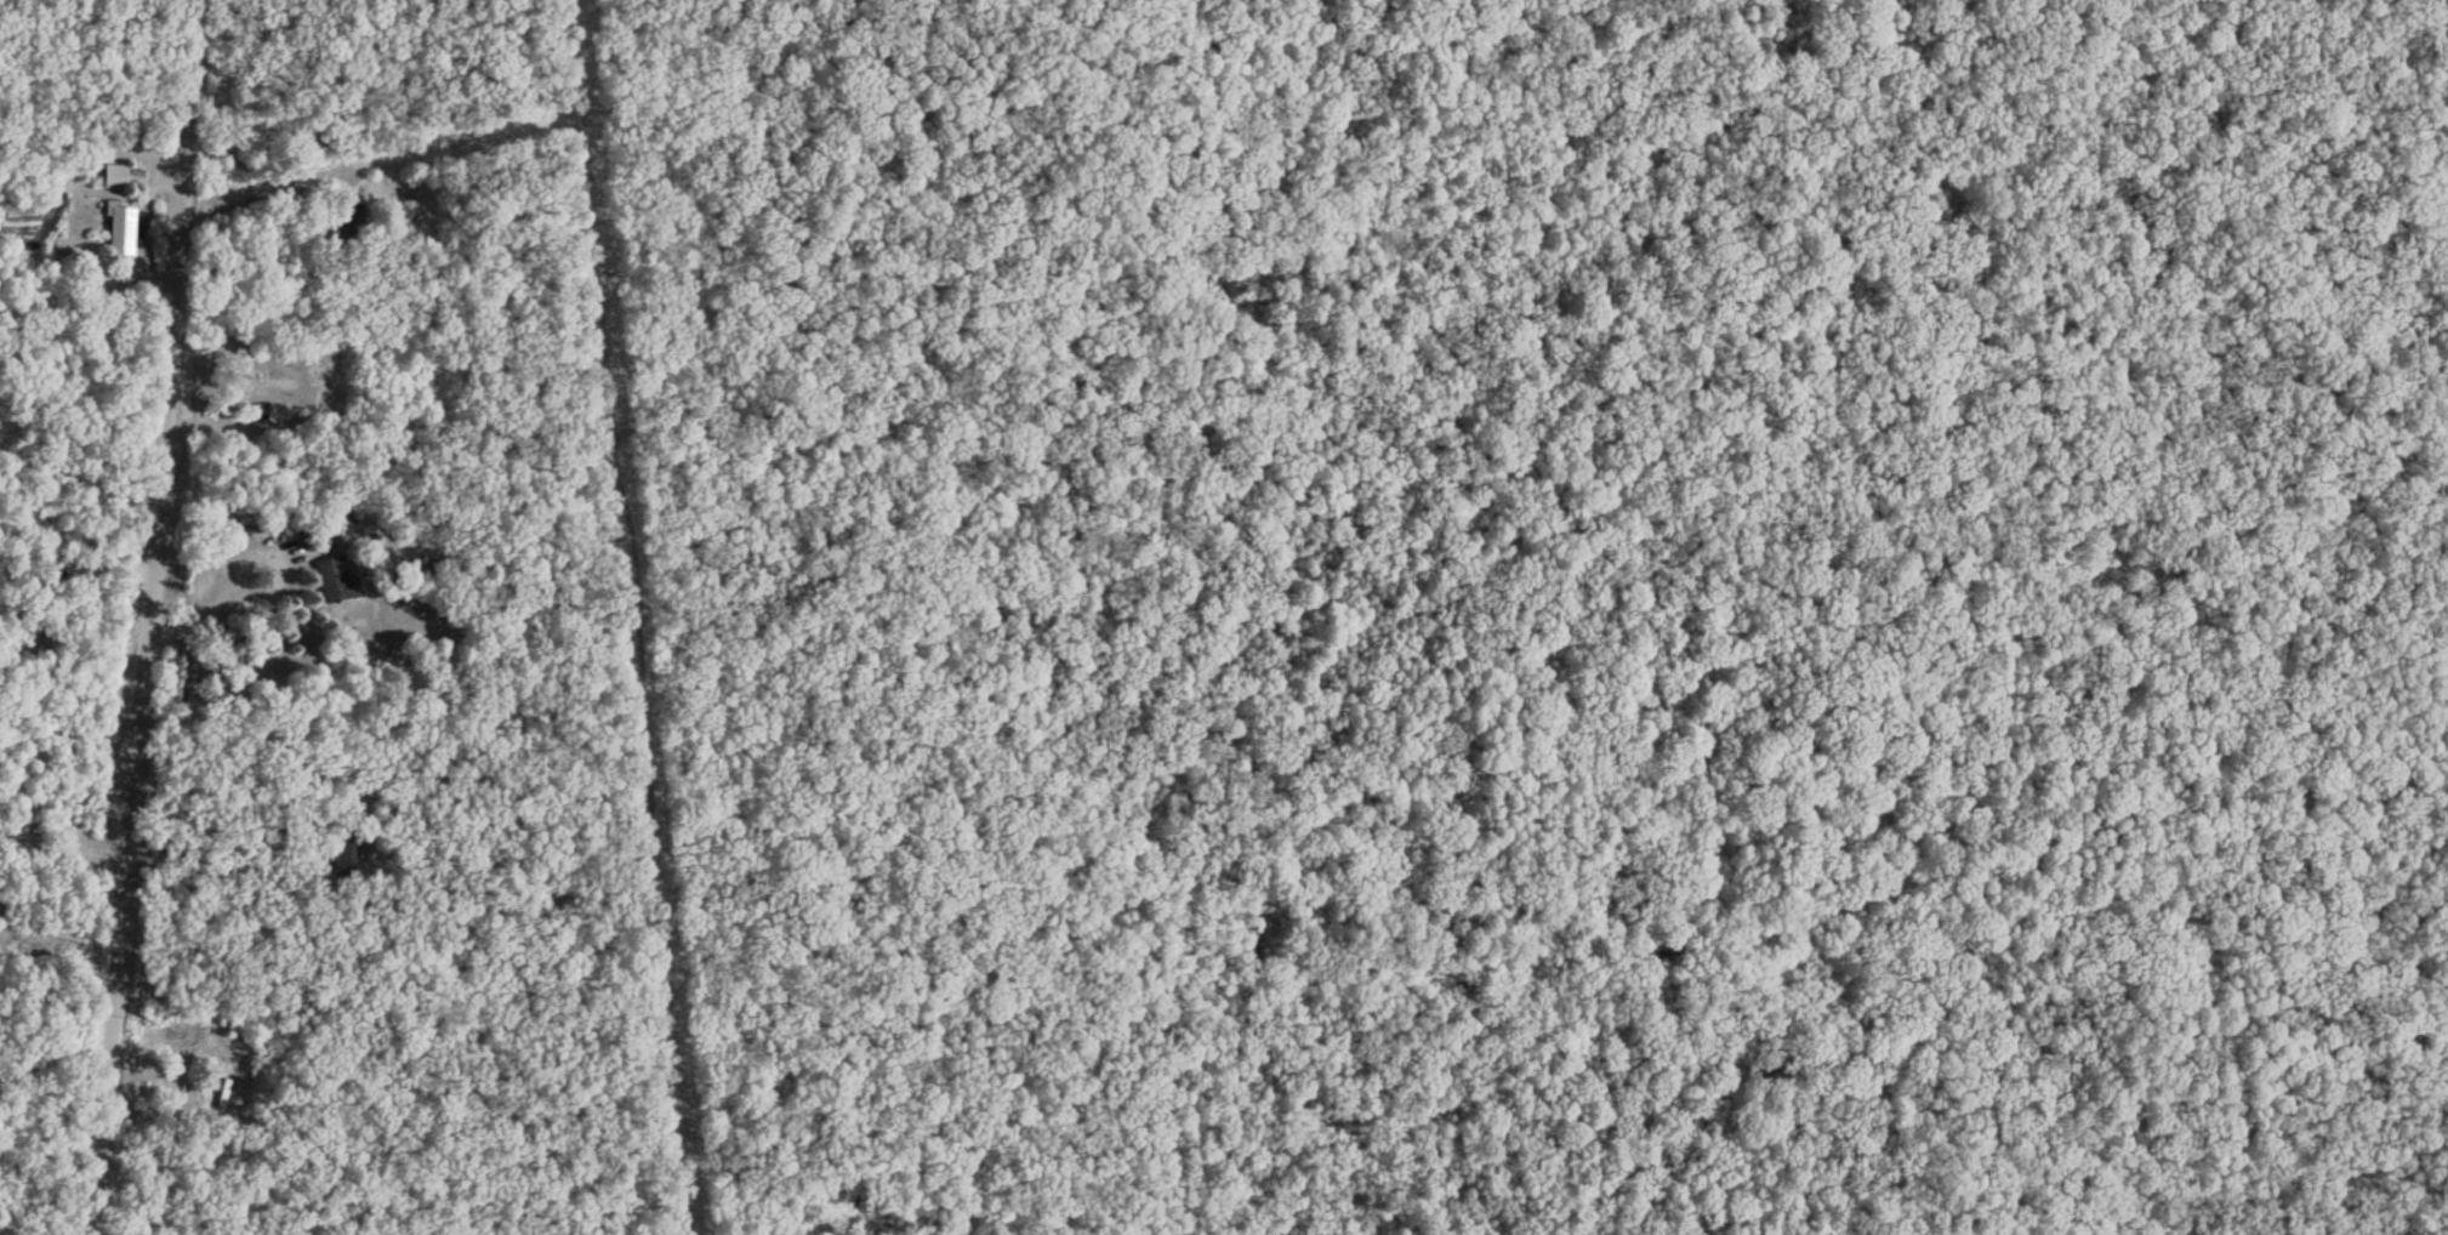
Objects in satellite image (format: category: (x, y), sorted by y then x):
road: (984, 47)
building: (114, 175)
building: (121, 231)
building: (254, 416)
building: (56, 569)
building: (335, 580)
road: (144, 616)
building: (351, 858)

